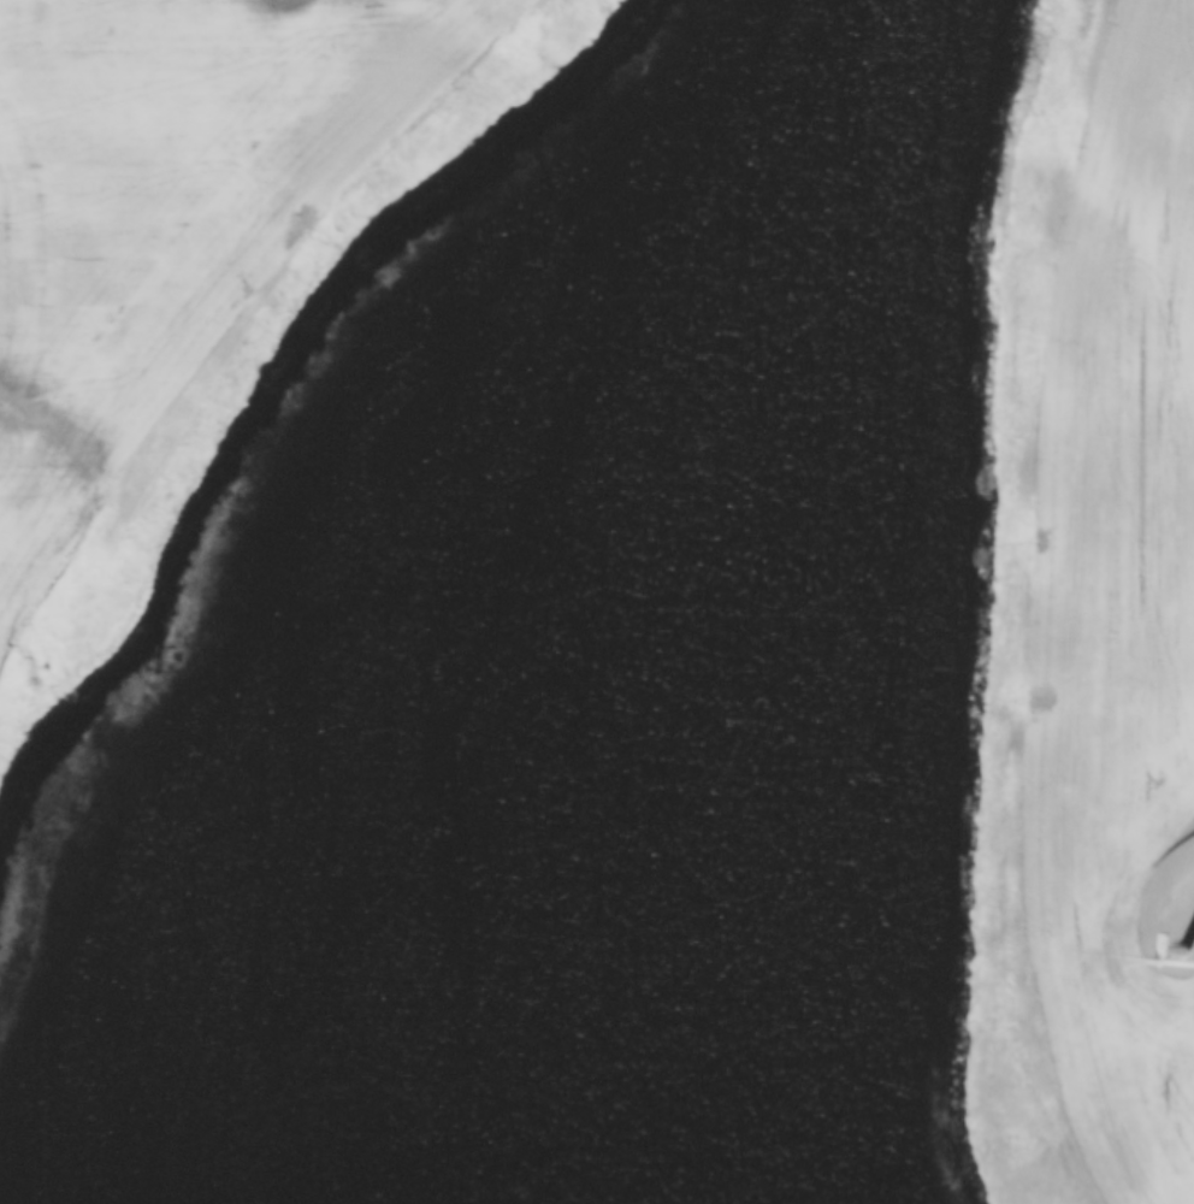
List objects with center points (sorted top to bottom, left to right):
wind turbine: (1170, 945)

